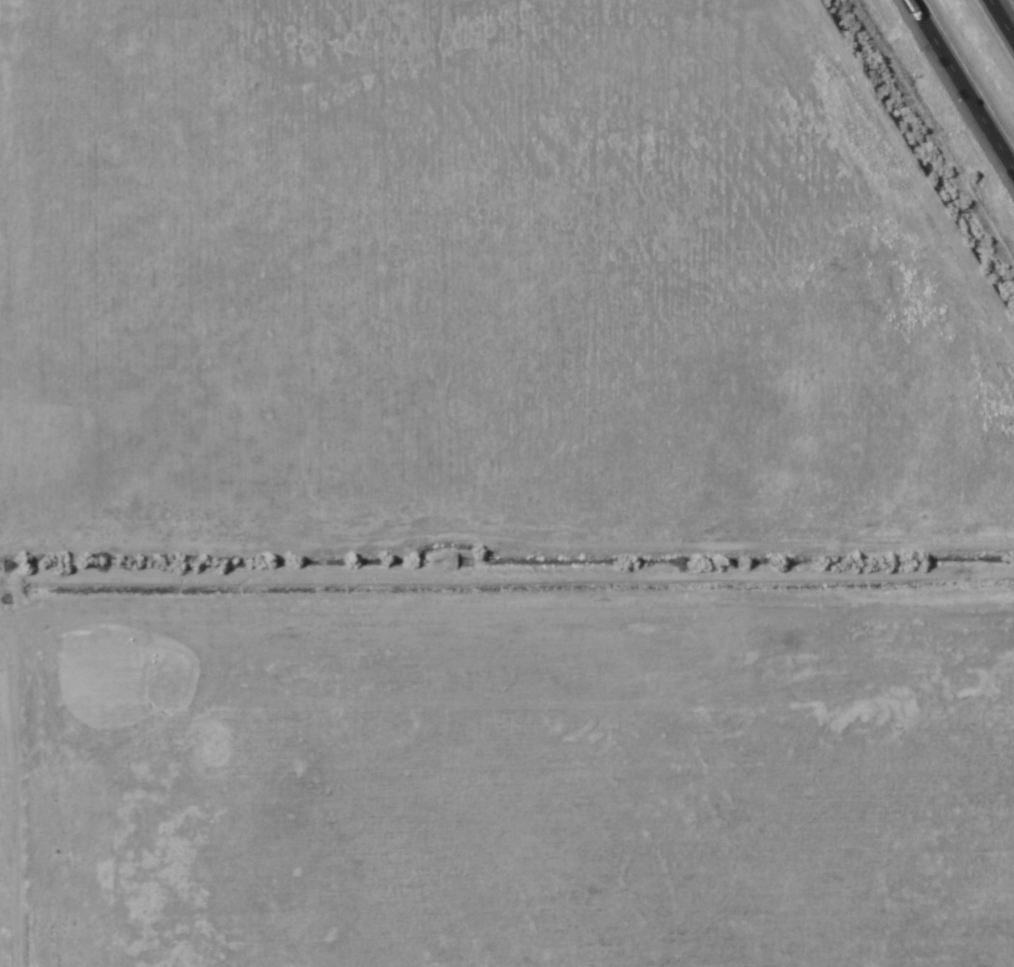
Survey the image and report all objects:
road: (1004, 15)
road: (963, 83)

